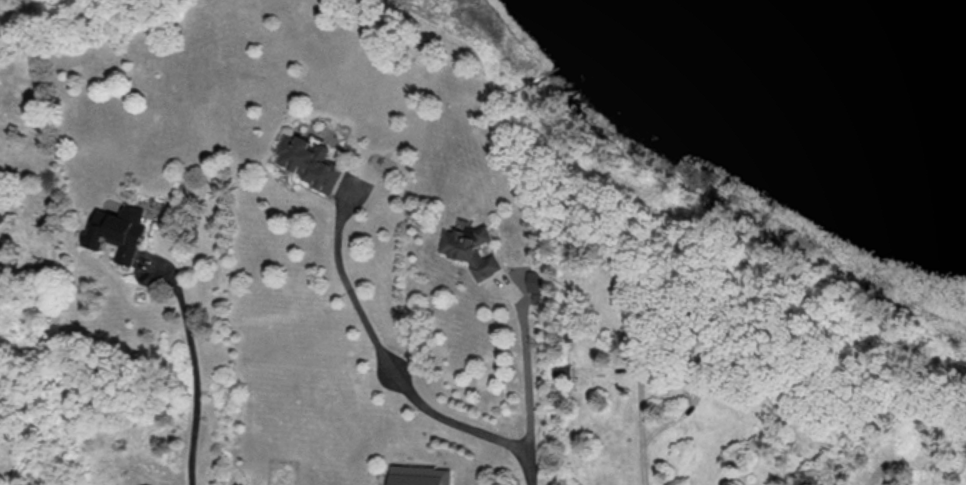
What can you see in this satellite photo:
pier: (530, 83)
building: (307, 163)
building: (118, 235)
building: (475, 251)
road: (194, 365)
road: (677, 366)
road: (395, 370)
building: (561, 372)
road: (528, 378)
road: (478, 458)
road: (644, 463)
road: (530, 465)
building: (420, 475)

